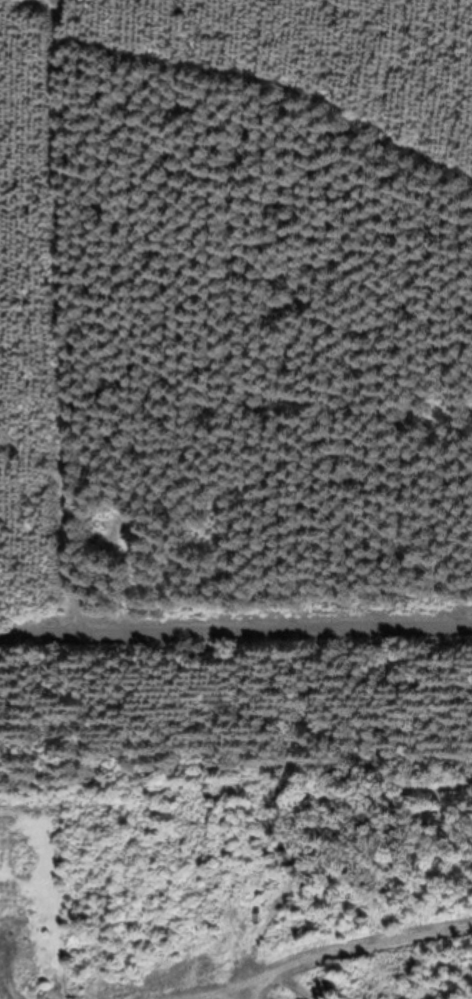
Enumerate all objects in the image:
road: (236, 636)

